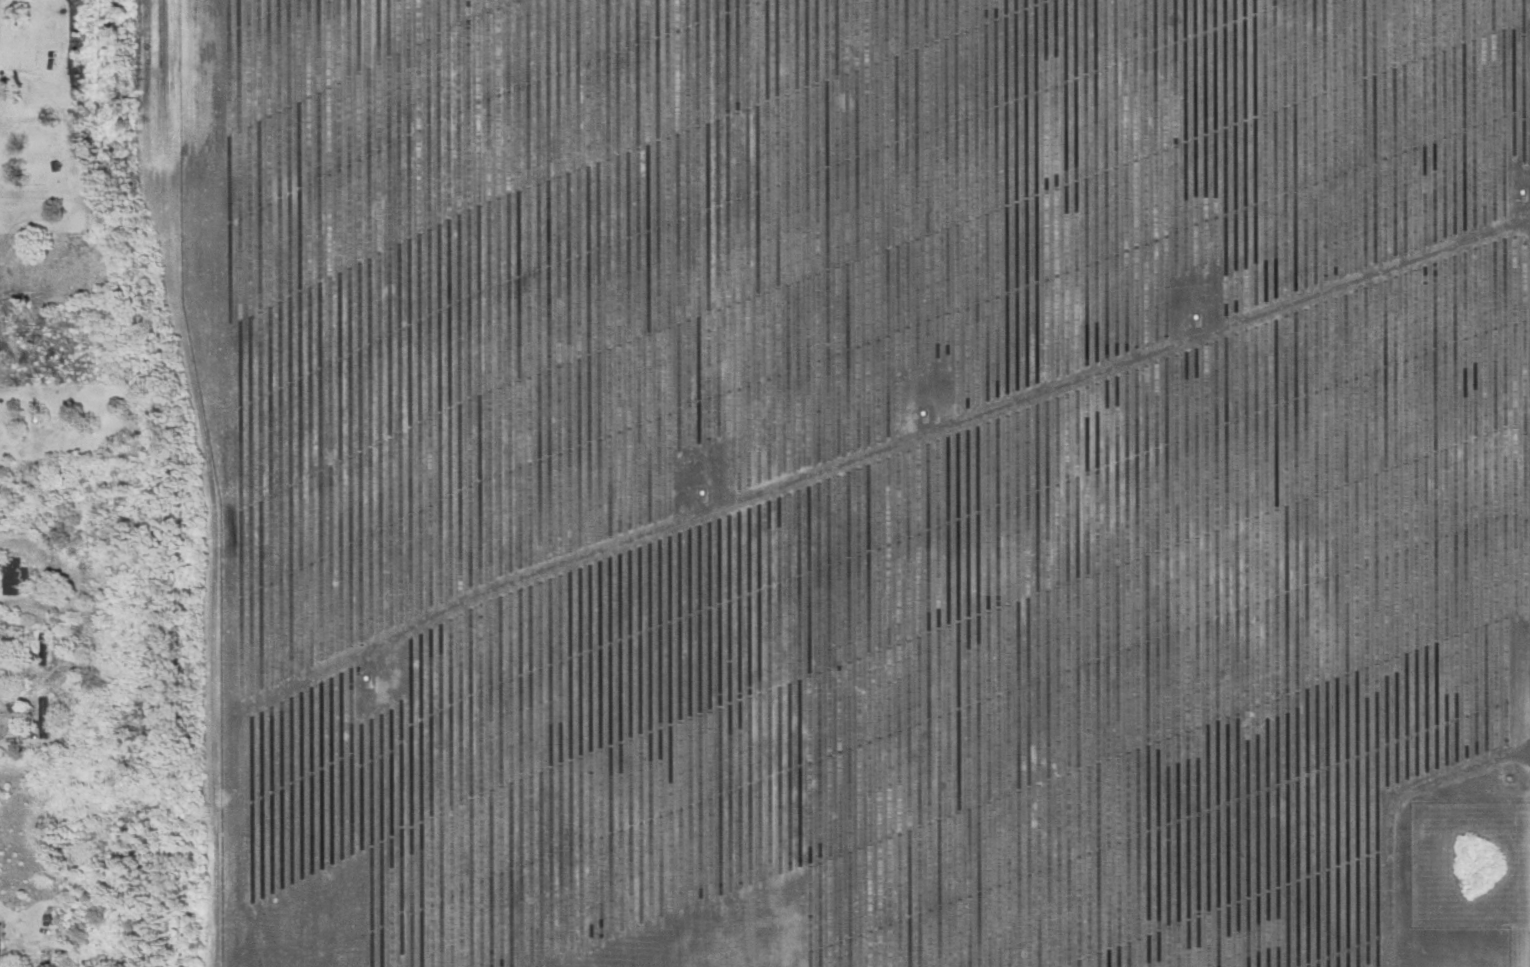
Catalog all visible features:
building: (53, 261)
building: (3, 498)
building: (11, 577)
building: (41, 649)
building: (42, 718)

